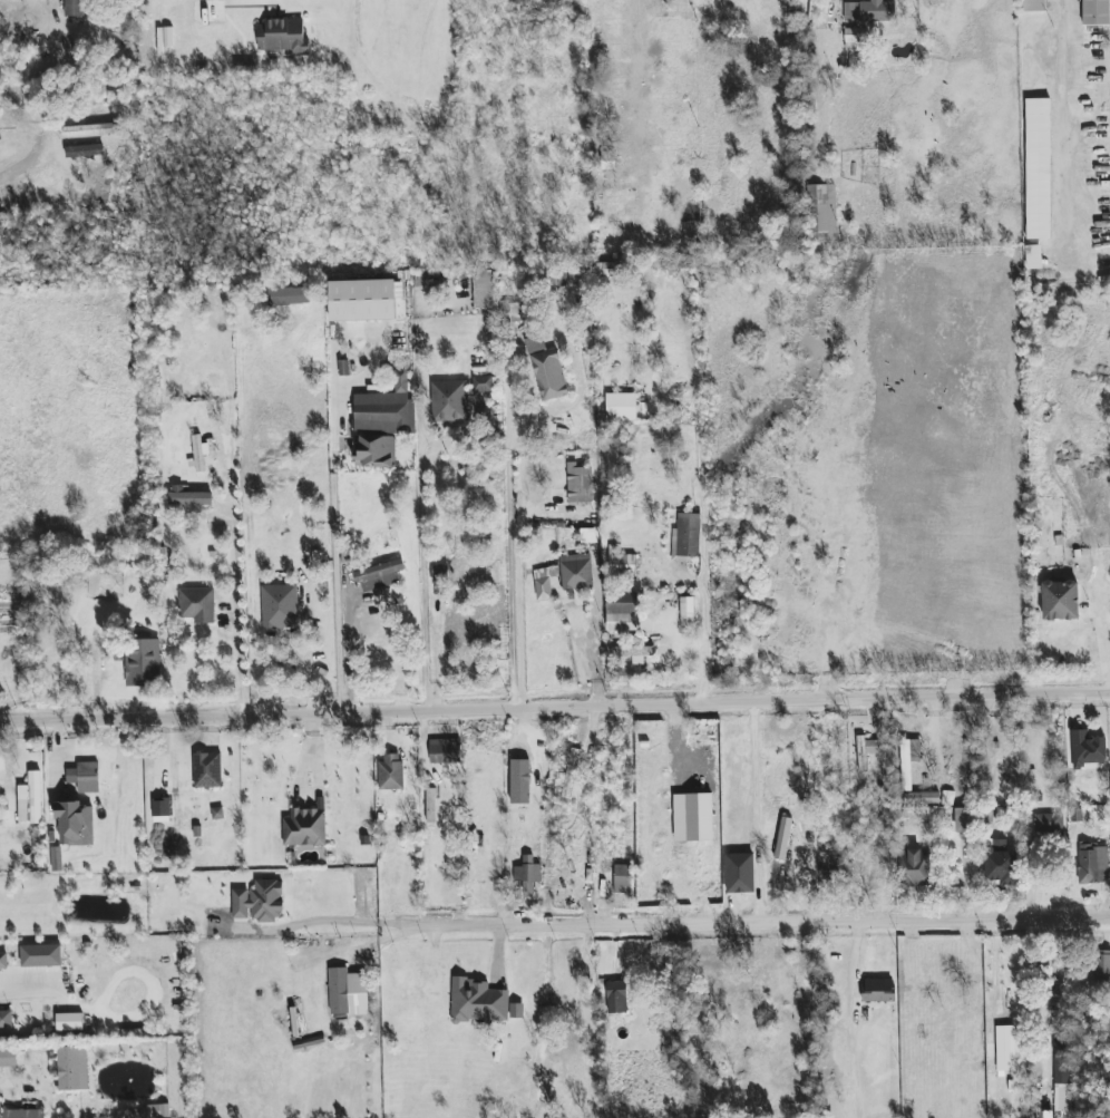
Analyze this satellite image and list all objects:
building: (1034, 6)
road: (208, 7)
building: (74, 8)
building: (869, 11)
building: (1096, 12)
building: (283, 36)
building: (855, 39)
road: (1063, 110)
road: (646, 116)
building: (1038, 168)
building: (824, 212)
building: (1034, 256)
building: (608, 269)
building: (483, 289)
building: (288, 295)
building: (362, 300)
building: (513, 309)
building: (549, 375)
building: (481, 396)
building: (449, 401)
building: (621, 407)
building: (386, 409)
building: (374, 451)
building: (198, 453)
building: (578, 484)
building: (188, 499)
building: (687, 536)
road: (508, 545)
building: (621, 562)
road: (337, 567)
building: (576, 572)
building: (439, 574)
building: (379, 575)
building: (544, 582)
road: (422, 585)
building: (1061, 601)
building: (197, 605)
building: (280, 606)
road: (703, 606)
road: (236, 611)
building: (622, 611)
building: (687, 612)
building: (634, 653)
road: (436, 654)
building: (143, 662)
road: (554, 704)
building: (1088, 749)
building: (445, 751)
building: (867, 751)
building: (908, 760)
building: (207, 770)
building: (391, 771)
building: (571, 774)
building: (85, 777)
building: (30, 799)
building: (431, 806)
building: (162, 810)
building: (700, 817)
building: (964, 819)
building: (75, 823)
building: (1049, 823)
building: (305, 826)
building: (782, 838)
building: (835, 862)
building: (1000, 863)
building: (1093, 864)
building: (914, 867)
building: (740, 873)
building: (623, 878)
building: (260, 901)
road: (335, 921)
road: (754, 924)
building: (41, 955)
building: (3, 960)
building: (1101, 964)
road: (18, 984)
building: (348, 992)
building: (878, 992)
building: (616, 997)
building: (483, 1002)
building: (6, 1019)
road: (850, 1020)
building: (69, 1022)
building: (1006, 1049)
building: (8, 1058)
building: (71, 1068)
building: (1061, 1083)
building: (917, 1085)
road: (2, 1088)
building: (155, 1111)
building: (25, 1114)

